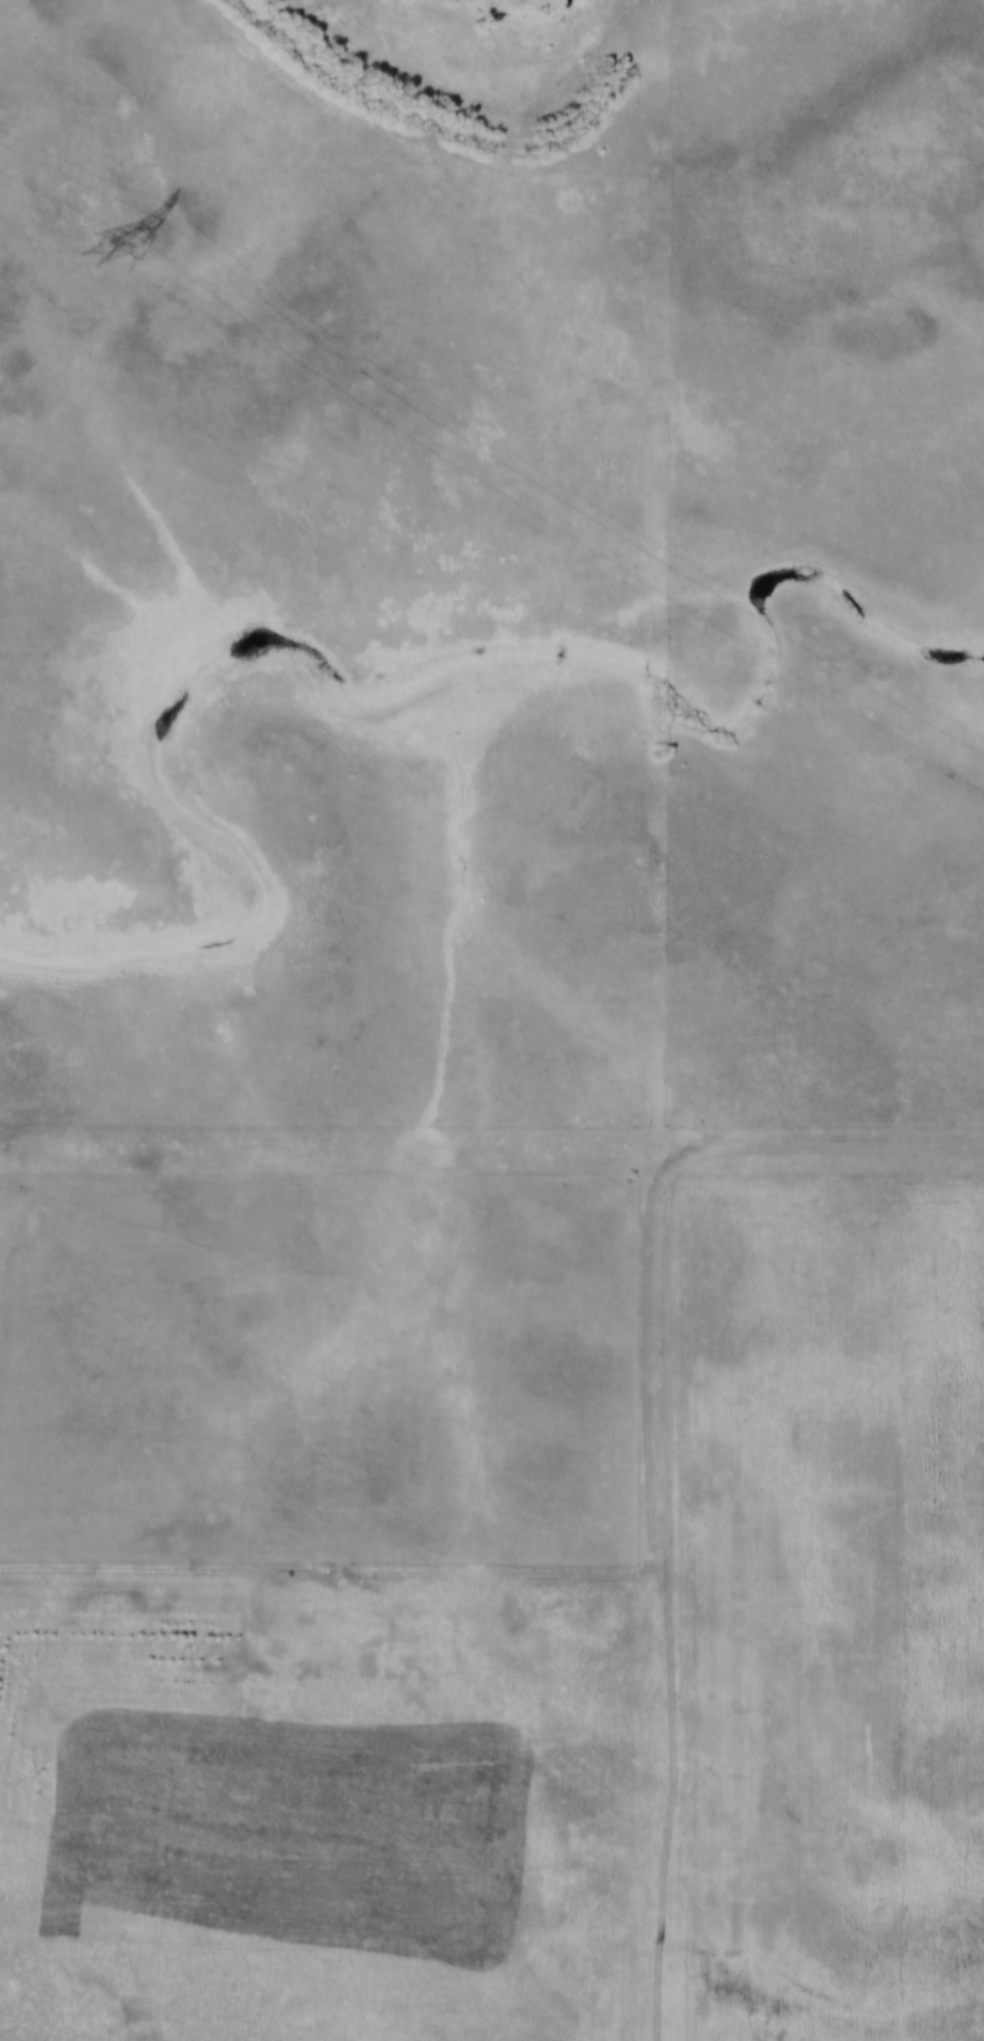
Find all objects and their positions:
power tower: (100, 248)
road: (651, 1526)

